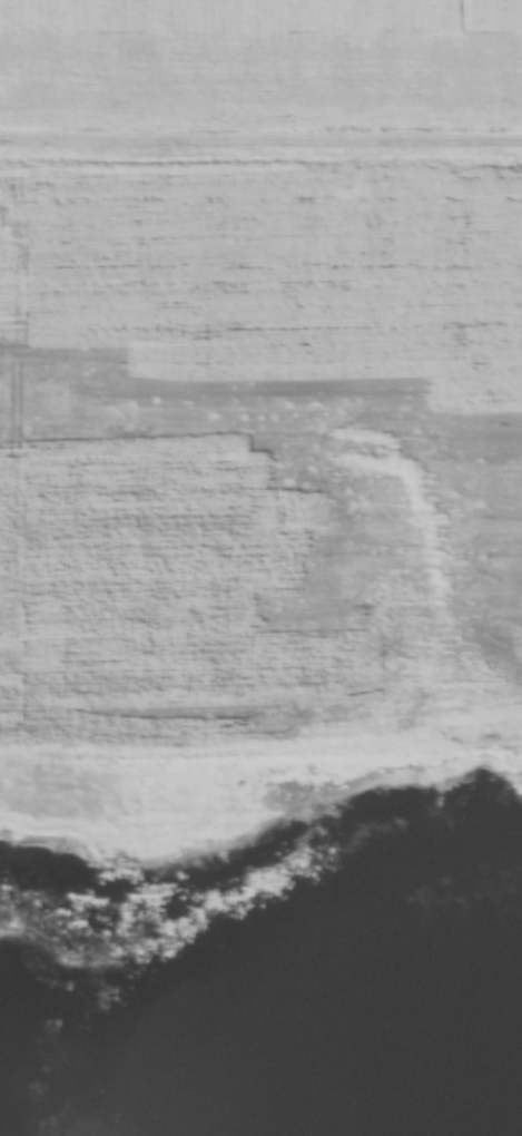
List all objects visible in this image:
road: (260, 135)

